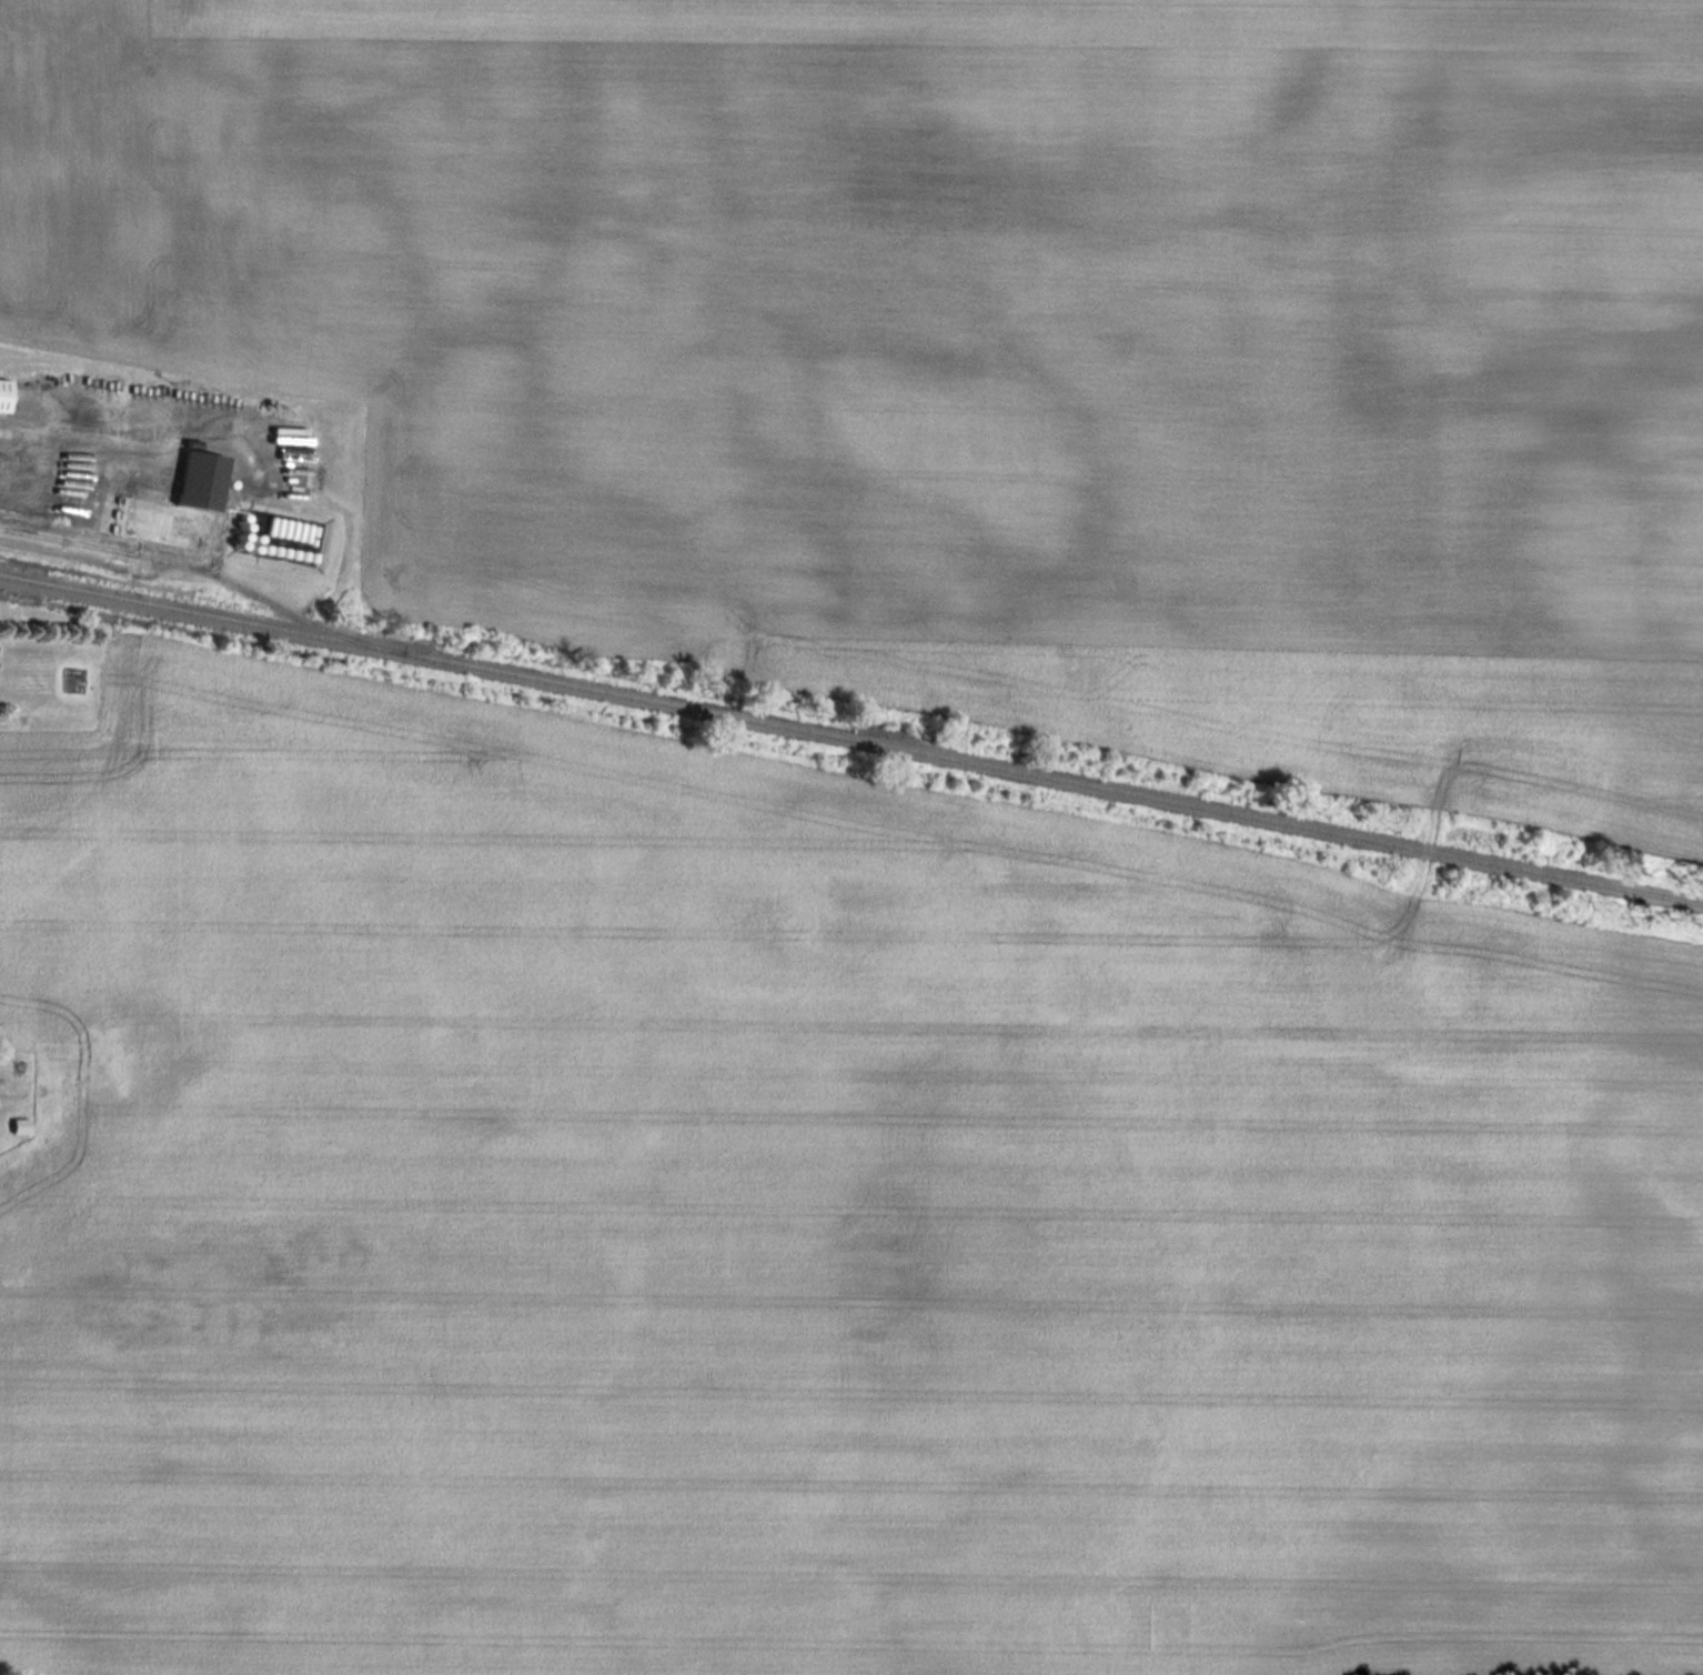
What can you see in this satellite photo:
building: (4, 394)
building: (172, 504)
railway: (851, 740)
building: (20, 1126)

